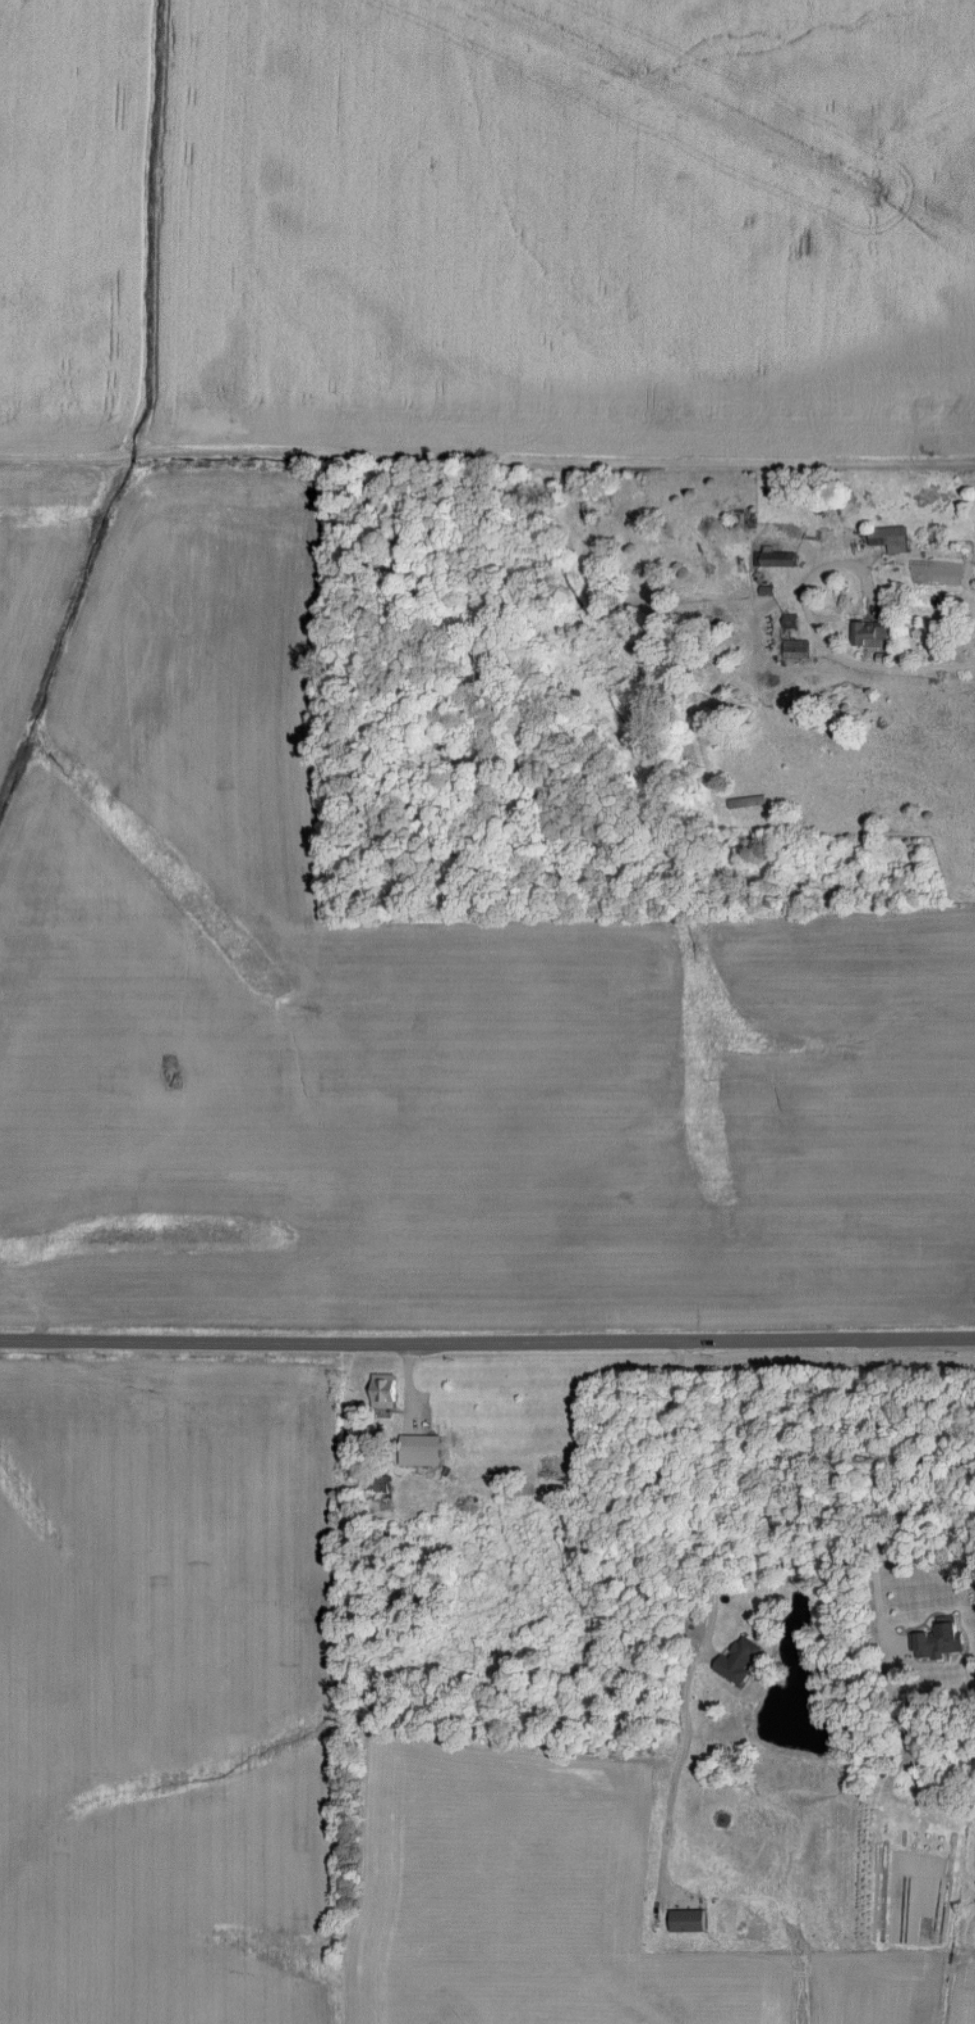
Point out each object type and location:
building: (890, 538)
building: (775, 558)
building: (872, 634)
building: (796, 648)
road: (857, 664)
road: (487, 1335)
building: (385, 1391)
building: (550, 1465)
building: (381, 1484)
road: (876, 1493)
road: (678, 1498)
building: (739, 1659)
building: (689, 1921)

